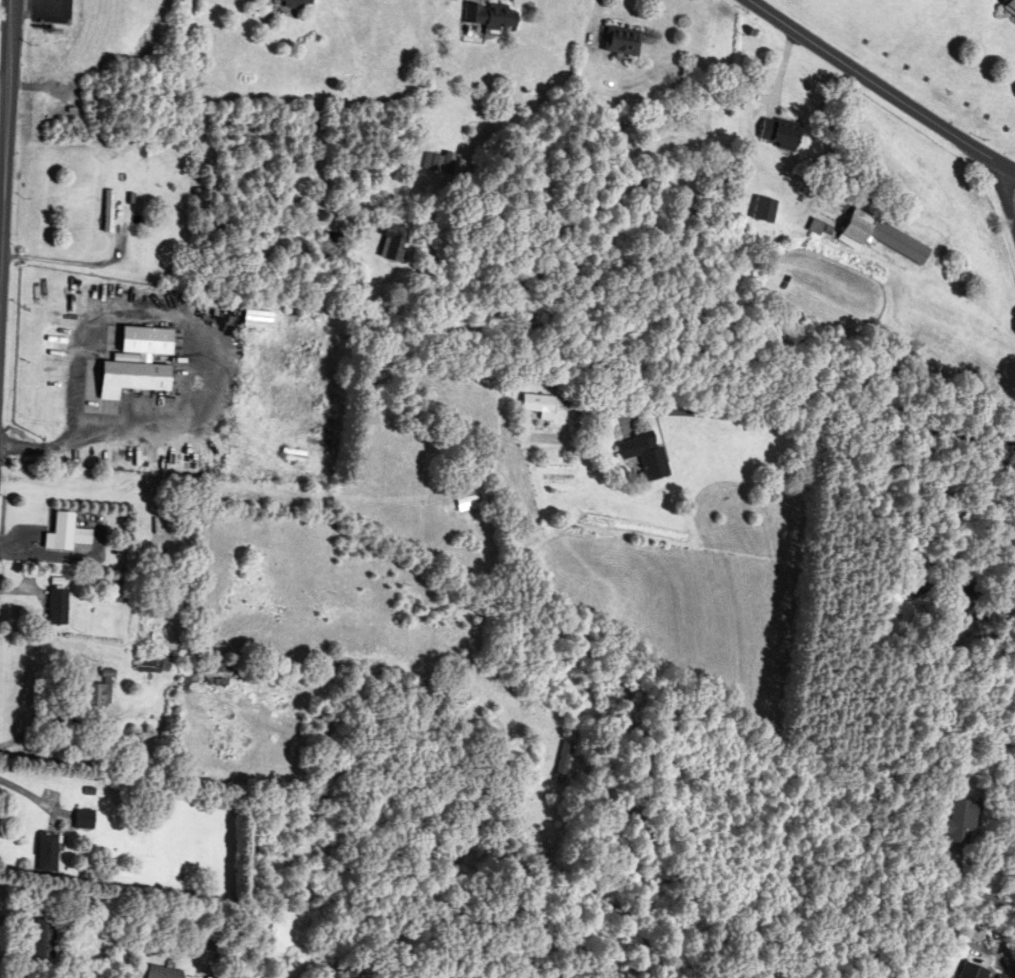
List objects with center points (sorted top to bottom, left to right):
road: (28, 1)
building: (294, 4)
building: (1008, 8)
building: (489, 17)
building: (617, 41)
road: (10, 73)
road: (875, 88)
building: (775, 134)
road: (3, 145)
building: (434, 164)
building: (760, 210)
building: (106, 211)
road: (3, 236)
building: (876, 236)
building: (389, 242)
road: (72, 262)
building: (129, 379)
building: (535, 406)
road: (818, 421)
road: (71, 446)
building: (642, 456)
building: (65, 535)
road: (987, 561)
building: (960, 602)
building: (55, 607)
building: (149, 662)
building: (216, 684)
building: (92, 696)
building: (81, 820)
building: (958, 822)
building: (44, 853)
road: (975, 890)
building: (41, 939)
road: (1005, 966)
building: (965, 972)
building: (159, 973)

